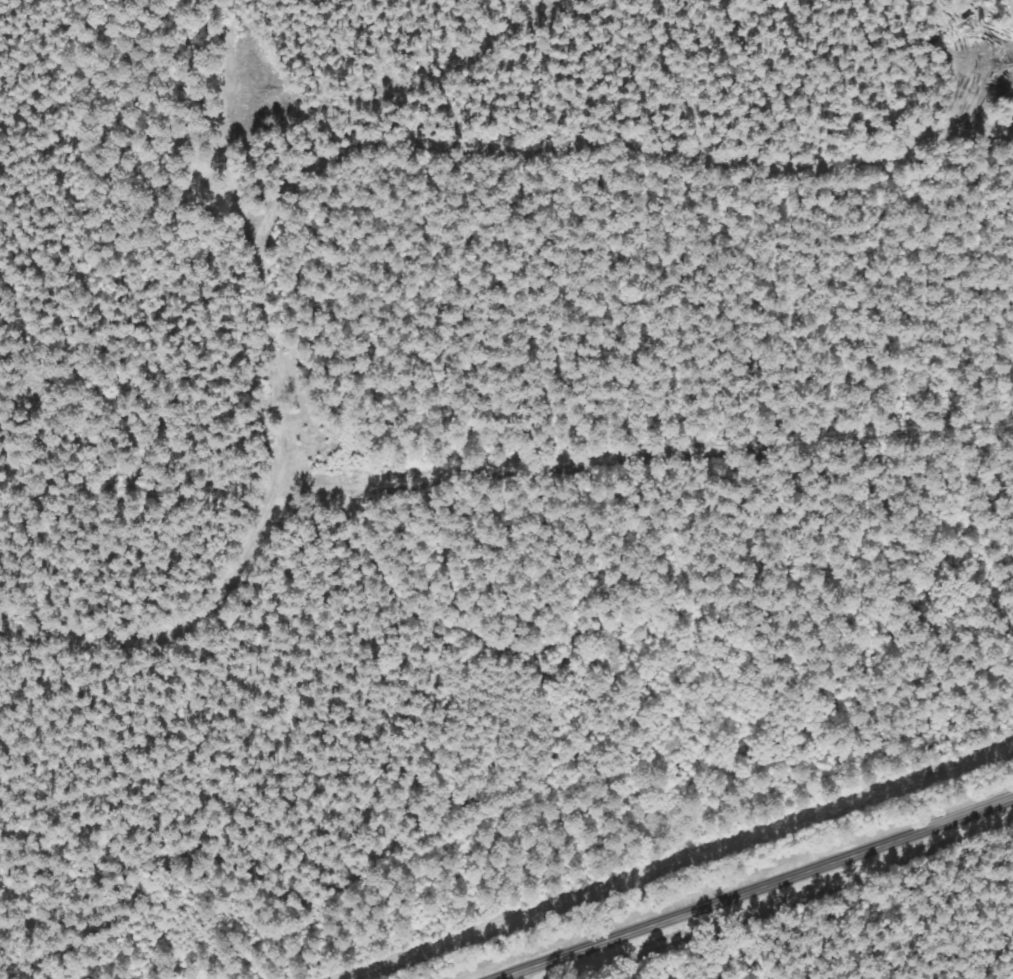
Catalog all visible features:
road: (759, 890)
road: (523, 976)

